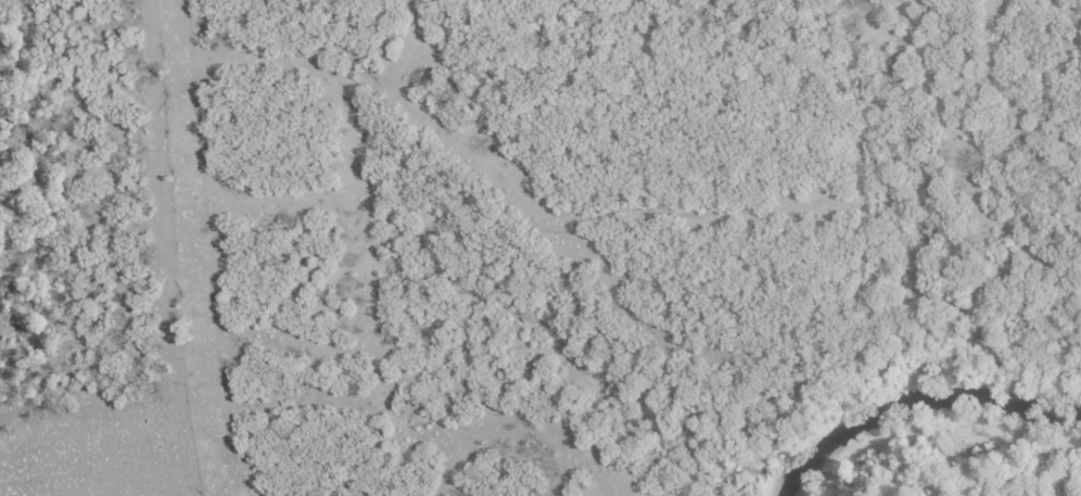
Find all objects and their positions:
river: (912, 435)

